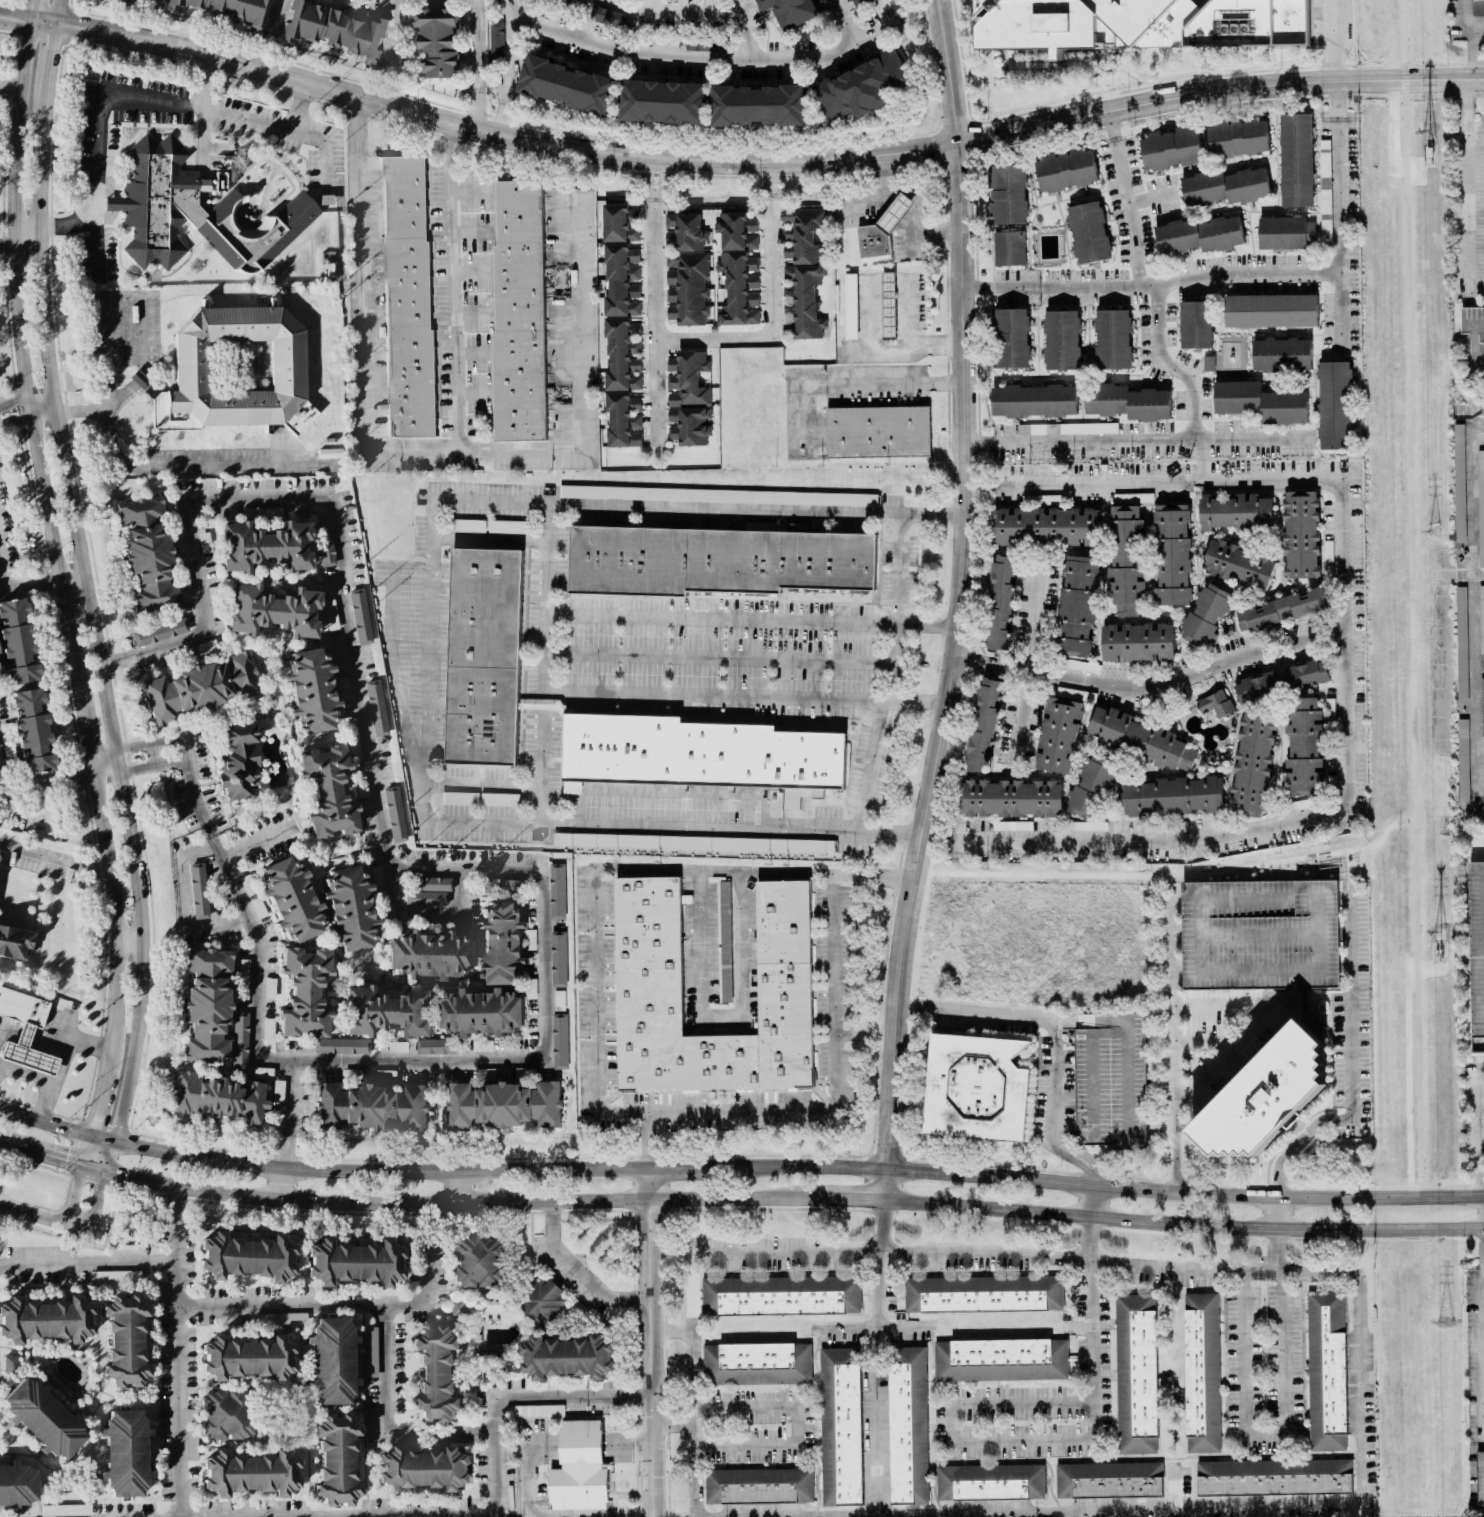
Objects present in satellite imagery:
building: (125, 1)
building: (861, 3)
building: (1477, 7)
road: (35, 9)
building: (230, 10)
road: (61, 11)
road: (694, 11)
building: (788, 12)
road: (274, 14)
road: (17, 16)
building: (611, 17)
road: (840, 20)
building: (1141, 24)
road: (1458, 30)
building: (335, 31)
road: (393, 31)
building: (438, 41)
building: (496, 41)
building: (705, 45)
road: (476, 46)
road: (511, 51)
road: (704, 55)
road: (52, 64)
road: (947, 72)
road: (12, 83)
building: (567, 85)
building: (862, 86)
road: (1218, 90)
road: (146, 99)
building: (663, 102)
building: (758, 105)
road: (203, 107)
road: (301, 107)
road: (475, 109)
road: (494, 116)
road: (1476, 127)
road: (491, 131)
power tower: (1426, 131)
building: (1237, 137)
building: (1170, 148)
road: (1468, 150)
building: (1295, 160)
road: (41, 165)
road: (1340, 165)
building: (1065, 170)
building: (1225, 187)
building: (1324, 190)
building: (1007, 194)
road: (1151, 202)
road: (915, 204)
building: (197, 212)
building: (620, 223)
road: (27, 226)
building: (882, 229)
building: (1088, 232)
building: (1283, 233)
building: (1200, 235)
road: (6, 247)
building: (1008, 248)
building: (686, 269)
building: (738, 270)
building: (803, 271)
road: (1154, 283)
road: (458, 286)
road: (1142, 290)
building: (407, 294)
road: (654, 300)
road: (770, 303)
building: (888, 305)
building: (850, 306)
building: (519, 310)
building: (1270, 310)
building: (1195, 324)
building: (1010, 338)
building: (1112, 339)
building: (1061, 340)
building: (1473, 342)
parking lot: (1472, 343)
road: (935, 346)
building: (622, 347)
road: (23, 354)
building: (1281, 354)
building: (239, 365)
building: (287, 369)
road: (859, 384)
road: (127, 389)
building: (689, 398)
building: (1034, 400)
building: (1127, 402)
building: (1260, 402)
road: (14, 404)
building: (1334, 405)
road: (44, 406)
road: (85, 410)
road: (45, 415)
road: (16, 421)
building: (877, 432)
road: (1479, 437)
road: (1136, 439)
road: (426, 452)
road: (201, 469)
building: (1459, 482)
road: (979, 488)
building: (718, 495)
building: (1132, 498)
building: (170, 504)
building: (1480, 507)
building: (1235, 512)
building: (469, 525)
building: (1045, 526)
building: (508, 527)
building: (1300, 534)
power tower: (1429, 534)
road: (83, 544)
building: (265, 547)
building: (326, 550)
building: (1328, 554)
building: (147, 555)
building: (1172, 555)
building: (1126, 560)
building: (716, 561)
building: (1238, 565)
road: (897, 566)
road: (75, 579)
road: (31, 585)
road: (549, 587)
building: (1000, 602)
building: (1076, 604)
building: (1283, 609)
road: (1474, 610)
building: (273, 612)
building: (331, 615)
building: (1204, 615)
road: (754, 616)
building: (360, 617)
building: (1481, 625)
building: (160, 632)
building: (1137, 642)
building: (16, 643)
building: (1461, 643)
building: (207, 647)
road: (1031, 653)
road: (392, 654)
building: (484, 656)
road: (721, 659)
road: (975, 659)
road: (430, 660)
road: (895, 661)
building: (1081, 666)
building: (0, 672)
road: (1174, 673)
road: (951, 674)
road: (1350, 674)
building: (1281, 681)
building: (200, 688)
building: (311, 691)
building: (1215, 704)
building: (1482, 706)
building: (376, 708)
building: (1330, 712)
building: (350, 724)
building: (983, 725)
road: (87, 729)
building: (32, 731)
building: (1058, 735)
building: (1140, 739)
building: (7, 742)
road: (151, 746)
building: (1303, 748)
road: (104, 753)
road: (155, 755)
building: (699, 755)
building: (1463, 761)
building: (239, 762)
building: (1251, 764)
road: (154, 765)
road: (108, 771)
road: (48, 780)
road: (191, 783)
road: (484, 783)
road: (0, 785)
building: (1091, 788)
road: (0, 791)
building: (327, 792)
building: (1172, 796)
building: (460, 798)
building: (1011, 798)
building: (499, 799)
building: (394, 814)
road: (103, 819)
building: (1011, 826)
road: (716, 827)
road: (890, 834)
road: (933, 837)
road: (254, 844)
building: (776, 845)
road: (54, 860)
road: (436, 870)
park: (1299, 870)
road: (1243, 873)
road: (871, 875)
building: (431, 884)
building: (504, 886)
building: (557, 890)
building: (198, 891)
building: (425, 899)
building: (291, 900)
road: (182, 909)
building: (349, 909)
road: (427, 914)
road: (593, 915)
power tower: (1437, 932)
building: (1260, 934)
road: (133, 938)
building: (529, 939)
building: (14, 943)
building: (502, 943)
building: (1476, 952)
parking garage: (1476, 952)
road: (119, 956)
building: (649, 956)
building: (558, 958)
building: (242, 980)
building: (559, 1000)
building: (311, 1003)
building: (206, 1006)
building: (389, 1012)
building: (482, 1012)
road: (978, 1012)
road: (138, 1018)
road: (721, 1018)
road: (1252, 1028)
road: (69, 1029)
building: (268, 1029)
building: (25, 1031)
building: (240, 1039)
road: (68, 1041)
building: (560, 1041)
building: (482, 1045)
building: (398, 1046)
building: (436, 1046)
road: (1172, 1049)
road: (1417, 1067)
road: (1352, 1073)
building: (351, 1075)
road: (43, 1082)
building: (1111, 1083)
parking garage: (1111, 1083)
building: (976, 1087)
road: (1058, 1090)
building: (1266, 1092)
building: (217, 1098)
building: (504, 1105)
road: (99, 1107)
building: (372, 1107)
road: (289, 1117)
traffic signals: (97, 1119)
road: (1478, 1128)
road: (649, 1139)
road: (1481, 1142)
traffic signals: (136, 1144)
road: (12, 1145)
road: (64, 1161)
traffic signals: (68, 1163)
road: (694, 1166)
road: (321, 1170)
road: (282, 1185)
road: (1111, 1185)
traffic signals: (100, 1186)
road: (458, 1187)
road: (74, 1195)
road: (845, 1200)
road: (1092, 1201)
road: (453, 1204)
road: (92, 1210)
road: (1482, 1211)
road: (1274, 1213)
road: (32, 1215)
road: (1184, 1224)
road: (1483, 1255)
building: (247, 1257)
building: (478, 1262)
building: (355, 1263)
road: (881, 1264)
road: (88, 1265)
road: (579, 1272)
building: (115, 1276)
building: (983, 1294)
building: (781, 1296)
building: (542, 1301)
road: (332, 1305)
building: (458, 1305)
road: (1088, 1309)
building: (281, 1319)
building: (45, 1320)
power tower: (1445, 1323)
road: (869, 1328)
road: (672, 1330)
building: (125, 1341)
road: (652, 1341)
road: (179, 1351)
building: (371, 1352)
building: (567, 1357)
building: (247, 1358)
building: (1000, 1360)
building: (332, 1361)
building: (10, 1363)
building: (757, 1363)
building: (1325, 1371)
building: (436, 1373)
building: (1201, 1373)
building: (1135, 1374)
road: (693, 1386)
road: (237, 1387)
road: (1360, 1389)
road: (571, 1396)
road: (301, 1410)
building: (538, 1410)
road: (363, 1411)
road: (333, 1412)
building: (226, 1415)
building: (43, 1419)
road: (875, 1421)
road: (384, 1422)
building: (841, 1423)
road: (796, 1425)
building: (908, 1425)
road: (673, 1426)
road: (1282, 1435)
building: (192, 1438)
road: (952, 1441)
road: (378, 1444)
building: (125, 1454)
road: (492, 1456)
building: (337, 1460)
building: (579, 1468)
building: (424, 1469)
building: (251, 1474)
road: (529, 1475)
building: (1273, 1477)
building: (1108, 1480)
building: (990, 1482)
building: (16, 1486)
building: (758, 1486)
building: (65, 1510)

